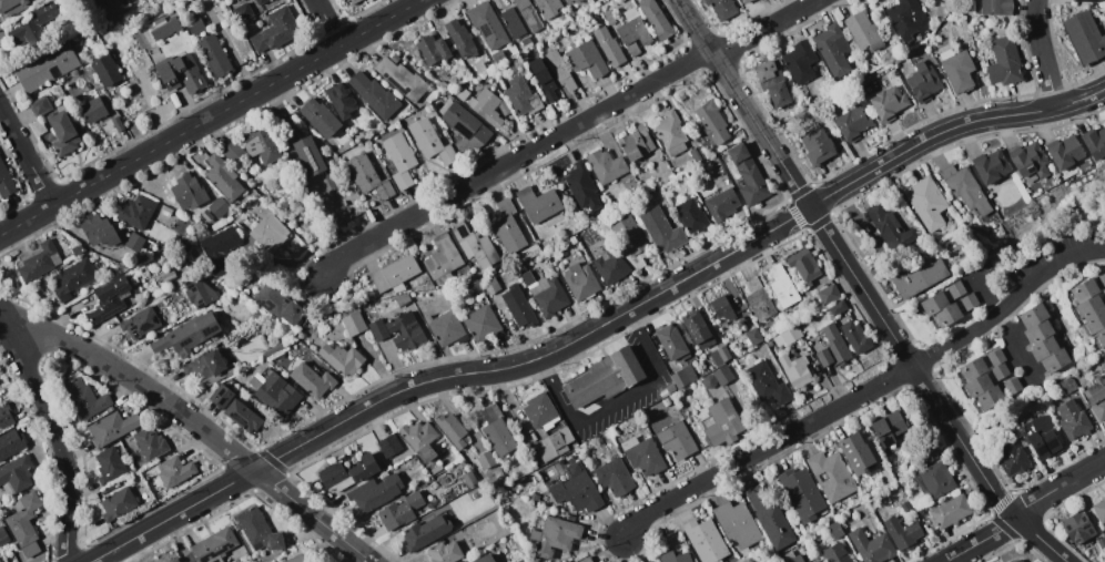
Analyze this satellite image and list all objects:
building: (1087, 0)
building: (261, 1)
building: (506, 1)
building: (747, 1)
building: (353, 2)
building: (568, 2)
building: (16, 7)
building: (112, 7)
building: (994, 7)
building: (549, 8)
building: (720, 9)
building: (243, 11)
building: (528, 14)
building: (609, 17)
building: (657, 19)
building: (908, 19)
road: (327, 22)
building: (511, 23)
building: (33, 24)
building: (194, 24)
building: (487, 24)
building: (164, 28)
building: (275, 29)
road: (769, 29)
building: (863, 31)
building: (633, 33)
building: (1084, 38)
building: (464, 41)
building: (526, 41)
building: (608, 47)
building: (433, 49)
building: (834, 50)
building: (531, 53)
road: (1044, 53)
building: (214, 55)
building: (498, 57)
building: (586, 59)
building: (801, 61)
building: (1006, 62)
building: (47, 67)
building: (957, 69)
building: (560, 70)
building: (105, 71)
building: (181, 73)
building: (892, 74)
building: (403, 79)
building: (543, 79)
building: (924, 82)
building: (772, 84)
building: (444, 85)
building: (464, 93)
building: (375, 94)
building: (521, 96)
building: (175, 100)
building: (341, 100)
building: (889, 103)
building: (41, 106)
building: (486, 106)
building: (92, 110)
building: (321, 116)
road: (211, 117)
building: (464, 122)
building: (711, 122)
building: (118, 123)
building: (853, 123)
building: (63, 133)
building: (671, 133)
building: (430, 141)
building: (1095, 142)
building: (636, 143)
building: (262, 144)
building: (468, 144)
building: (818, 146)
building: (233, 152)
building: (1066, 153)
building: (697, 154)
building: (310, 155)
road: (27, 156)
building: (401, 159)
road: (516, 160)
building: (1030, 161)
building: (606, 165)
building: (992, 167)
building: (748, 174)
building: (665, 175)
building: (368, 176)
building: (224, 177)
building: (6, 182)
building: (584, 186)
building: (1036, 187)
building: (967, 190)
building: (189, 192)
building: (649, 194)
building: (538, 203)
building: (927, 203)
building: (722, 204)
building: (219, 207)
building: (136, 212)
building: (206, 215)
building: (692, 216)
building: (509, 226)
building: (890, 227)
building: (99, 231)
building: (661, 231)
building: (270, 233)
building: (631, 239)
building: (572, 241)
building: (134, 242)
building: (217, 242)
building: (475, 245)
building: (78, 249)
building: (40, 260)
building: (445, 264)
building: (612, 266)
building: (803, 266)
building: (394, 274)
building: (170, 276)
building: (426, 276)
building: (921, 277)
building: (73, 278)
building: (1103, 278)
building: (582, 282)
building: (491, 286)
building: (782, 287)
building: (473, 288)
road: (863, 288)
building: (827, 289)
building: (1085, 289)
building: (1104, 290)
building: (197, 292)
building: (546, 293)
building: (110, 298)
building: (403, 299)
building: (759, 299)
building: (276, 303)
road: (1006, 303)
building: (950, 304)
building: (519, 306)
building: (839, 307)
building: (722, 308)
building: (1091, 314)
building: (1034, 315)
building: (225, 320)
building: (140, 323)
building: (355, 323)
building: (483, 324)
road: (599, 327)
building: (447, 328)
road: (1007, 328)
building: (378, 329)
building: (697, 329)
building: (406, 331)
building: (1038, 331)
building: (187, 335)
building: (791, 335)
building: (754, 336)
building: (1099, 336)
building: (856, 337)
building: (779, 340)
building: (672, 343)
building: (771, 343)
building: (1044, 347)
building: (833, 348)
building: (273, 349)
building: (721, 355)
building: (343, 359)
building: (1055, 360)
building: (981, 364)
building: (209, 368)
building: (795, 369)
building: (727, 372)
building: (683, 376)
building: (605, 377)
building: (312, 379)
building: (986, 379)
building: (709, 381)
building: (767, 384)
building: (1068, 385)
building: (275, 391)
building: (996, 394)
building: (222, 397)
building: (85, 398)
building: (1096, 398)
building: (667, 401)
road: (620, 403)
building: (1036, 403)
building: (540, 411)
building: (7, 416)
building: (243, 416)
building: (1073, 420)
road: (193, 422)
building: (722, 422)
building: (112, 427)
building: (889, 428)
building: (498, 430)
building: (454, 431)
building: (614, 431)
building: (418, 433)
road: (60, 440)
building: (678, 440)
building: (1044, 442)
building: (11, 443)
building: (151, 443)
building: (552, 443)
building: (391, 446)
road: (766, 447)
building: (931, 451)
building: (856, 452)
building: (426, 453)
building: (643, 456)
building: (1013, 459)
building: (486, 460)
building: (109, 464)
building: (462, 464)
building: (436, 469)
building: (168, 472)
building: (346, 473)
building: (384, 473)
building: (16, 476)
building: (832, 476)
building: (615, 477)
building: (469, 479)
building: (934, 480)
building: (116, 486)
building: (577, 489)
building: (375, 492)
building: (803, 494)
building: (535, 497)
building: (432, 503)
building: (119, 504)
road: (1023, 509)
building: (1101, 509)
building: (401, 511)
building: (951, 511)
building: (771, 515)
building: (26, 523)
building: (738, 523)
building: (1078, 528)
building: (258, 530)
building: (837, 530)
building: (426, 532)
building: (903, 533)
building: (4, 535)
building: (555, 535)
building: (706, 540)
road: (178, 541)
building: (1102, 542)
building: (212, 545)
building: (871, 546)
building: (444, 552)
building: (834, 554)
building: (673, 556)
building: (790, 556)
building: (298, 559)
building: (484, 559)
building: (174, 560)
building: (585, 560)
building: (817, 560)
building: (1018, 560)
building: (0, 561)

